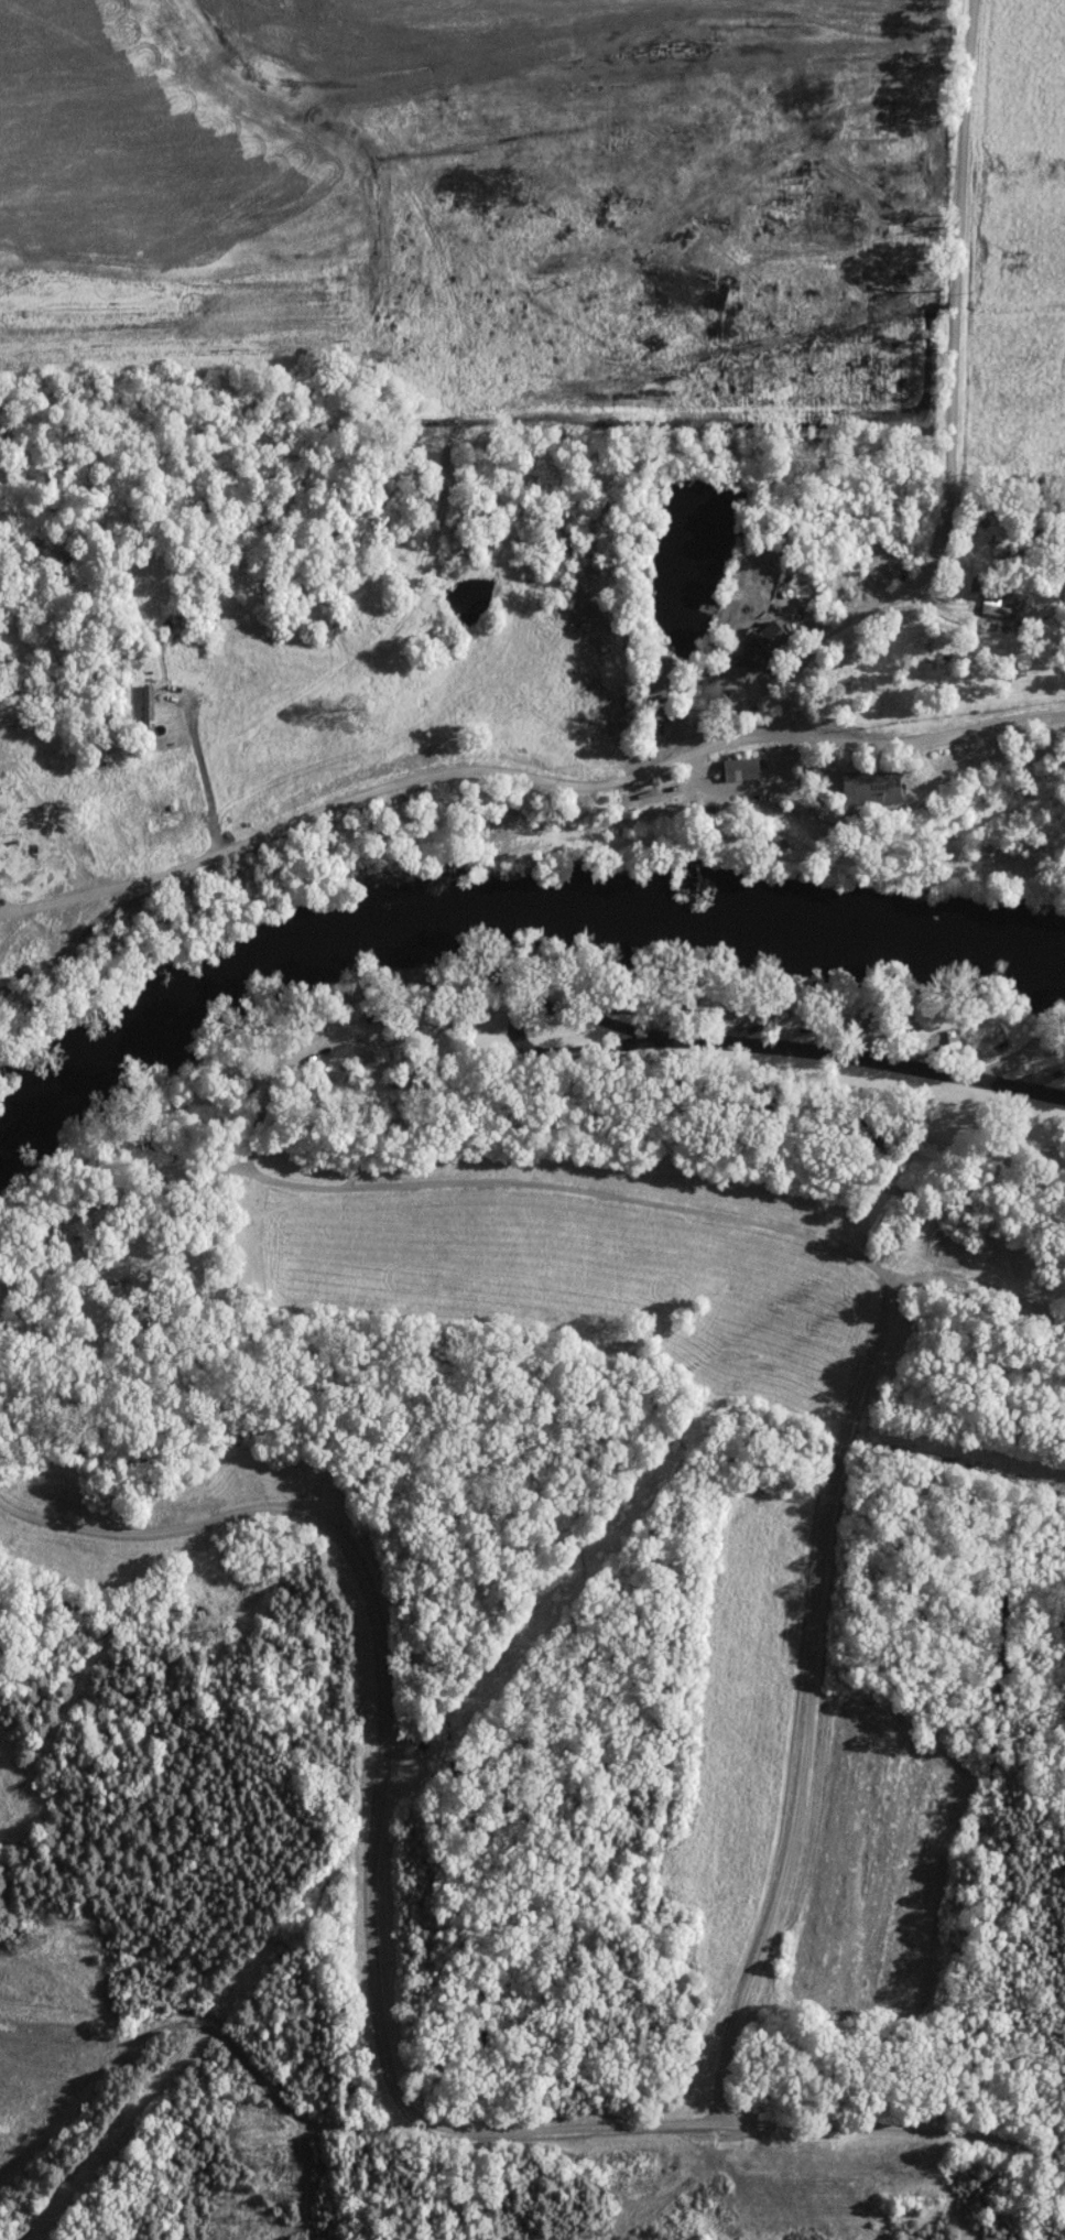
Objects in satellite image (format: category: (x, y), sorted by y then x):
road: (953, 407)
building: (803, 576)
building: (997, 609)
building: (758, 646)
building: (737, 770)
road: (528, 773)
building: (863, 789)
building: (154, 822)
road: (619, 1038)
road: (847, 1249)
road: (380, 1799)
road: (894, 2131)

